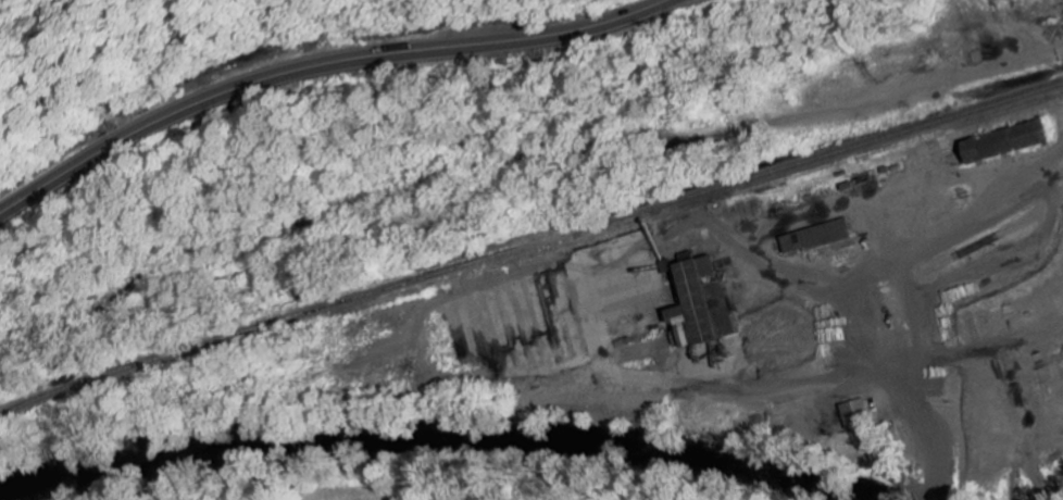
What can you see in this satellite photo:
road: (322, 67)
building: (998, 142)
road: (628, 166)
road: (956, 239)
railway: (529, 241)
building: (698, 304)
building: (854, 413)
river: (428, 441)

